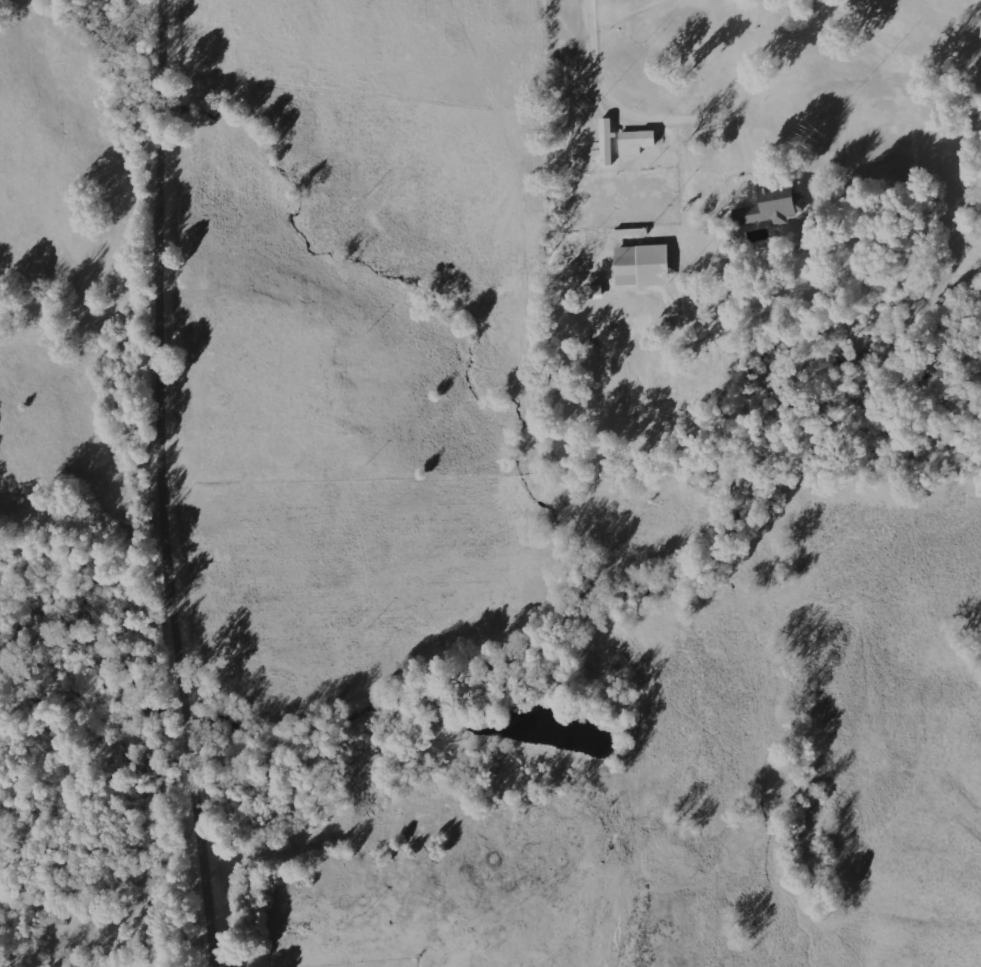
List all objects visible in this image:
building: (634, 141)
building: (605, 142)
building: (768, 206)
building: (639, 264)
road: (174, 484)

